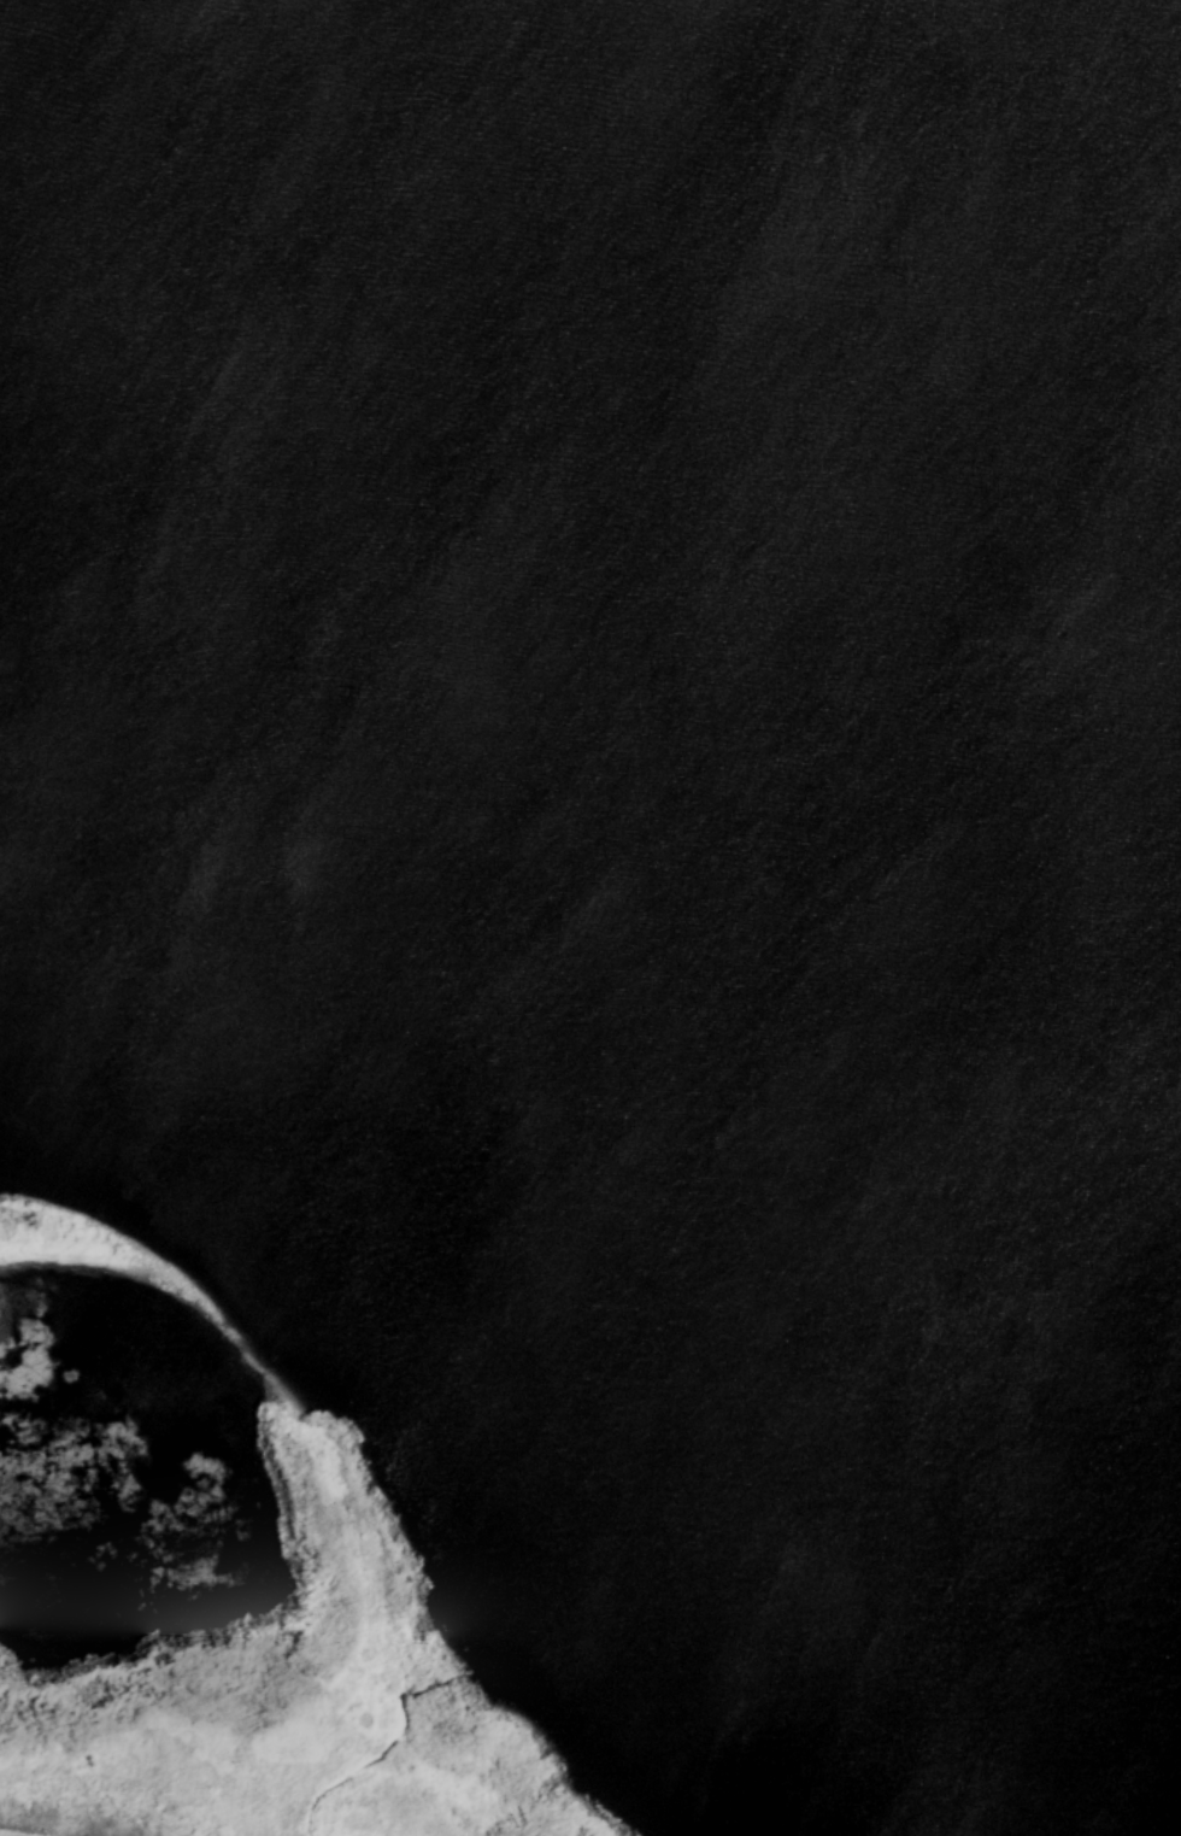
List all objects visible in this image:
power tower: (54, 1736)

